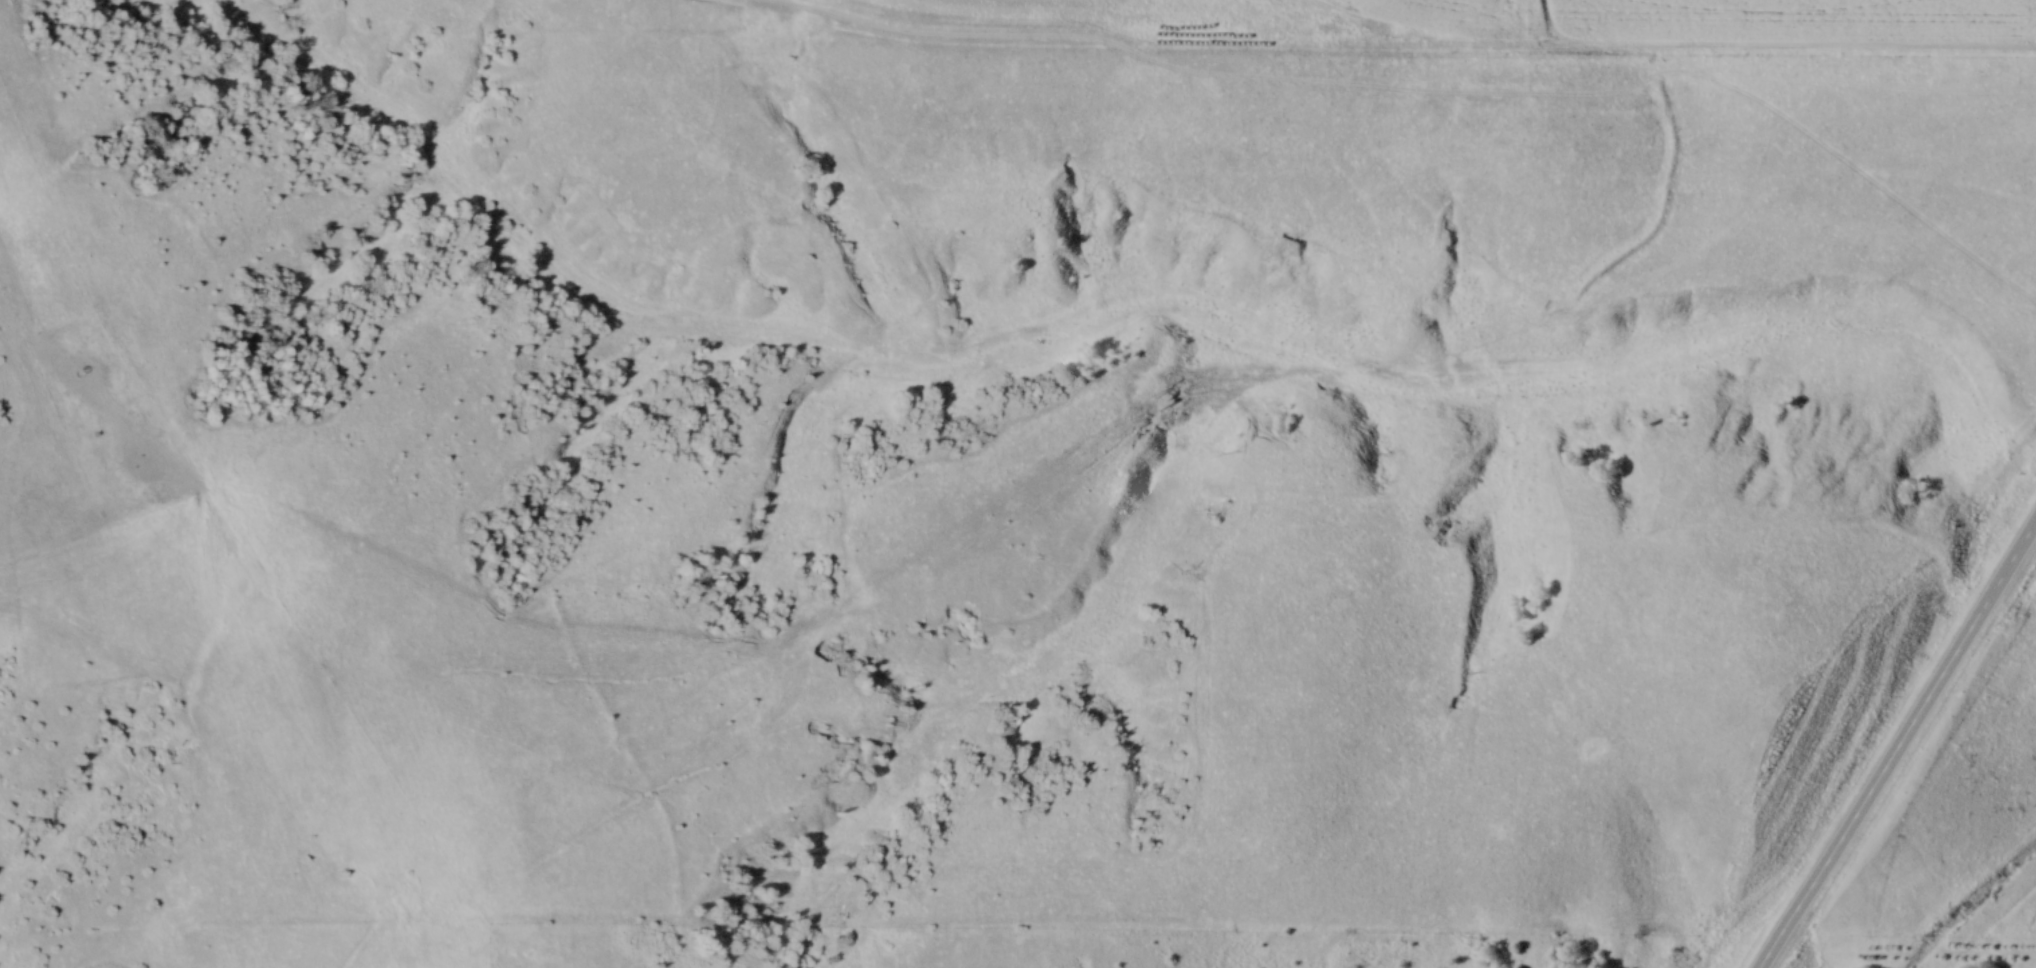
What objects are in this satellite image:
road: (1898, 748)

